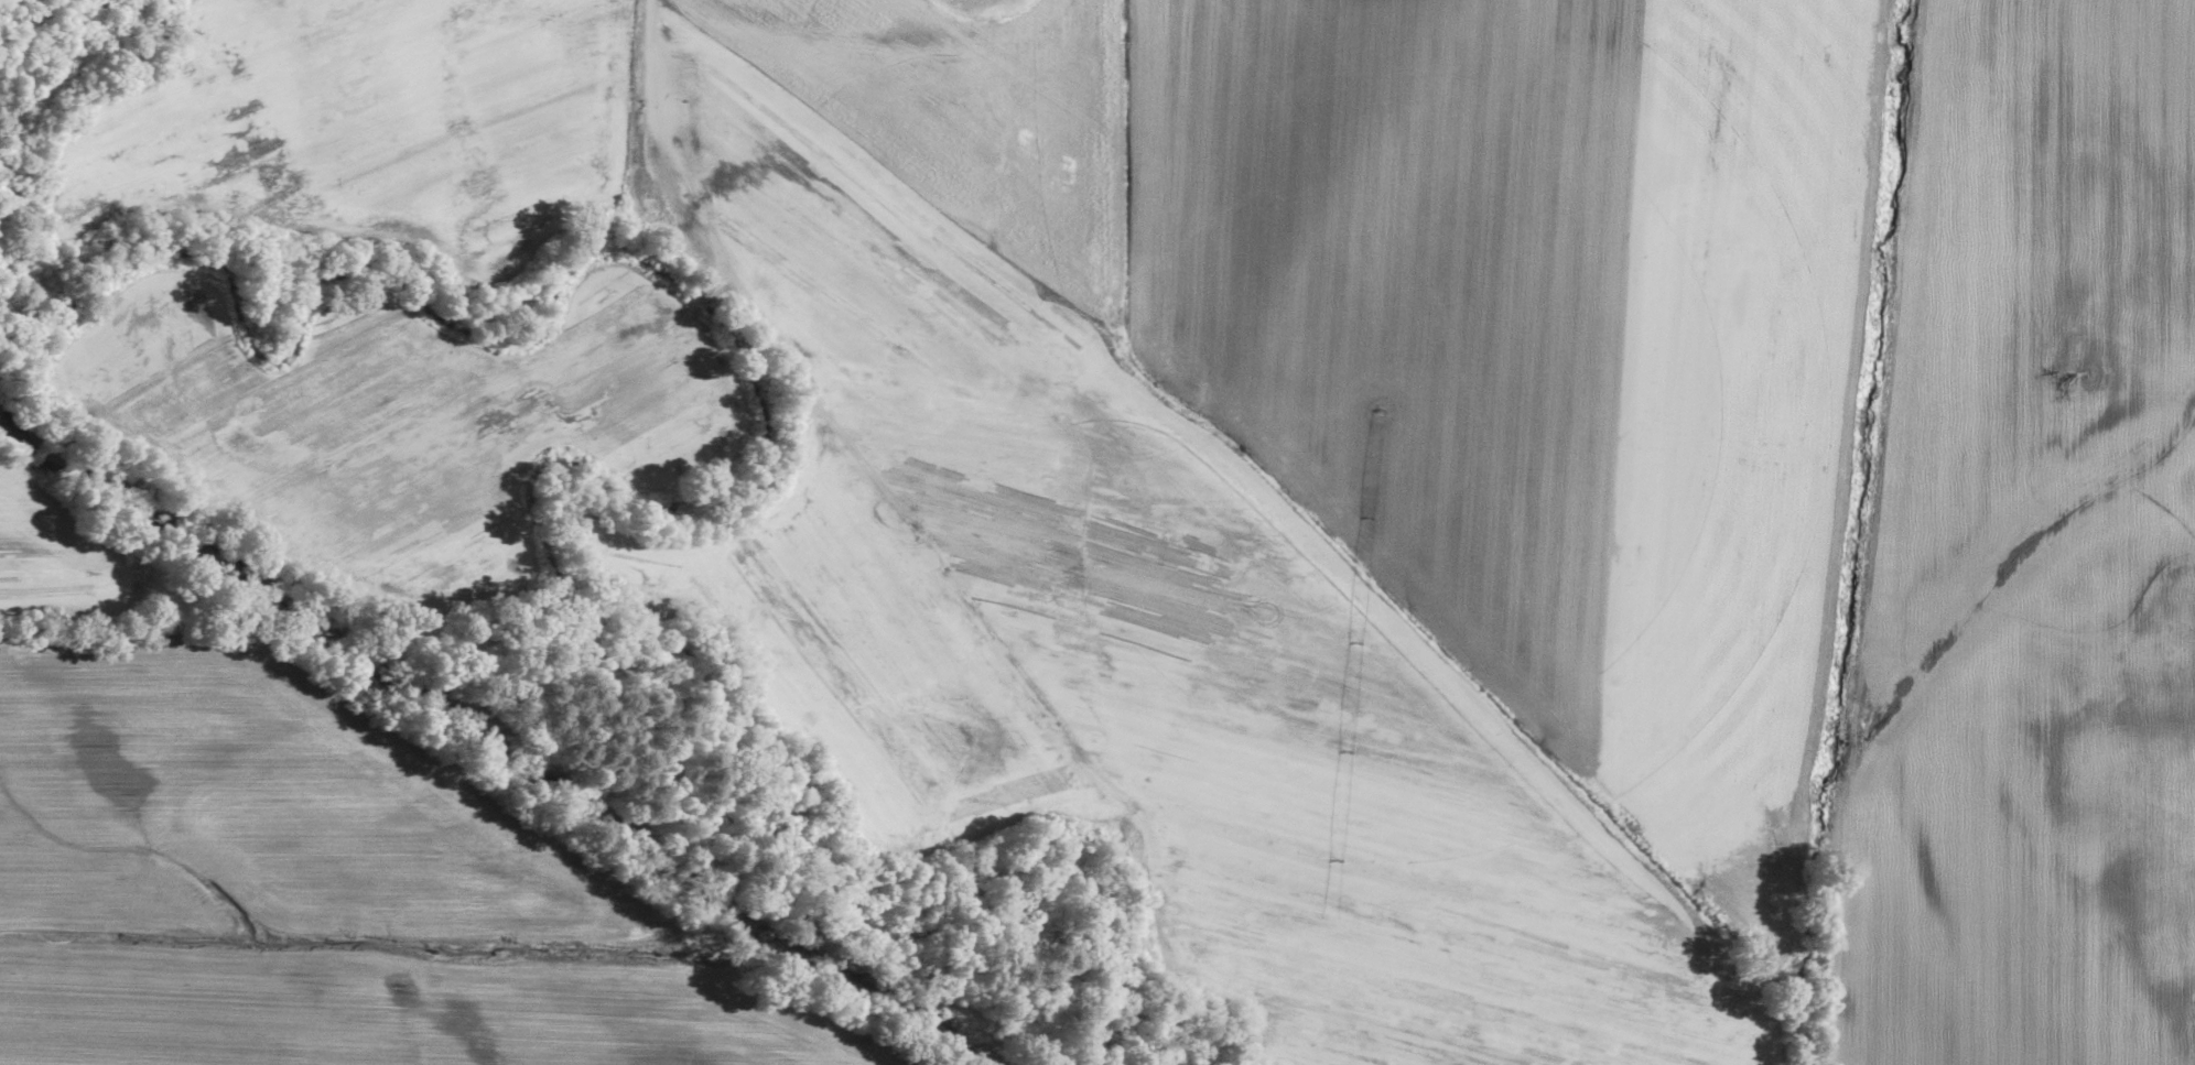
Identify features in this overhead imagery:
road: (1177, 901)

